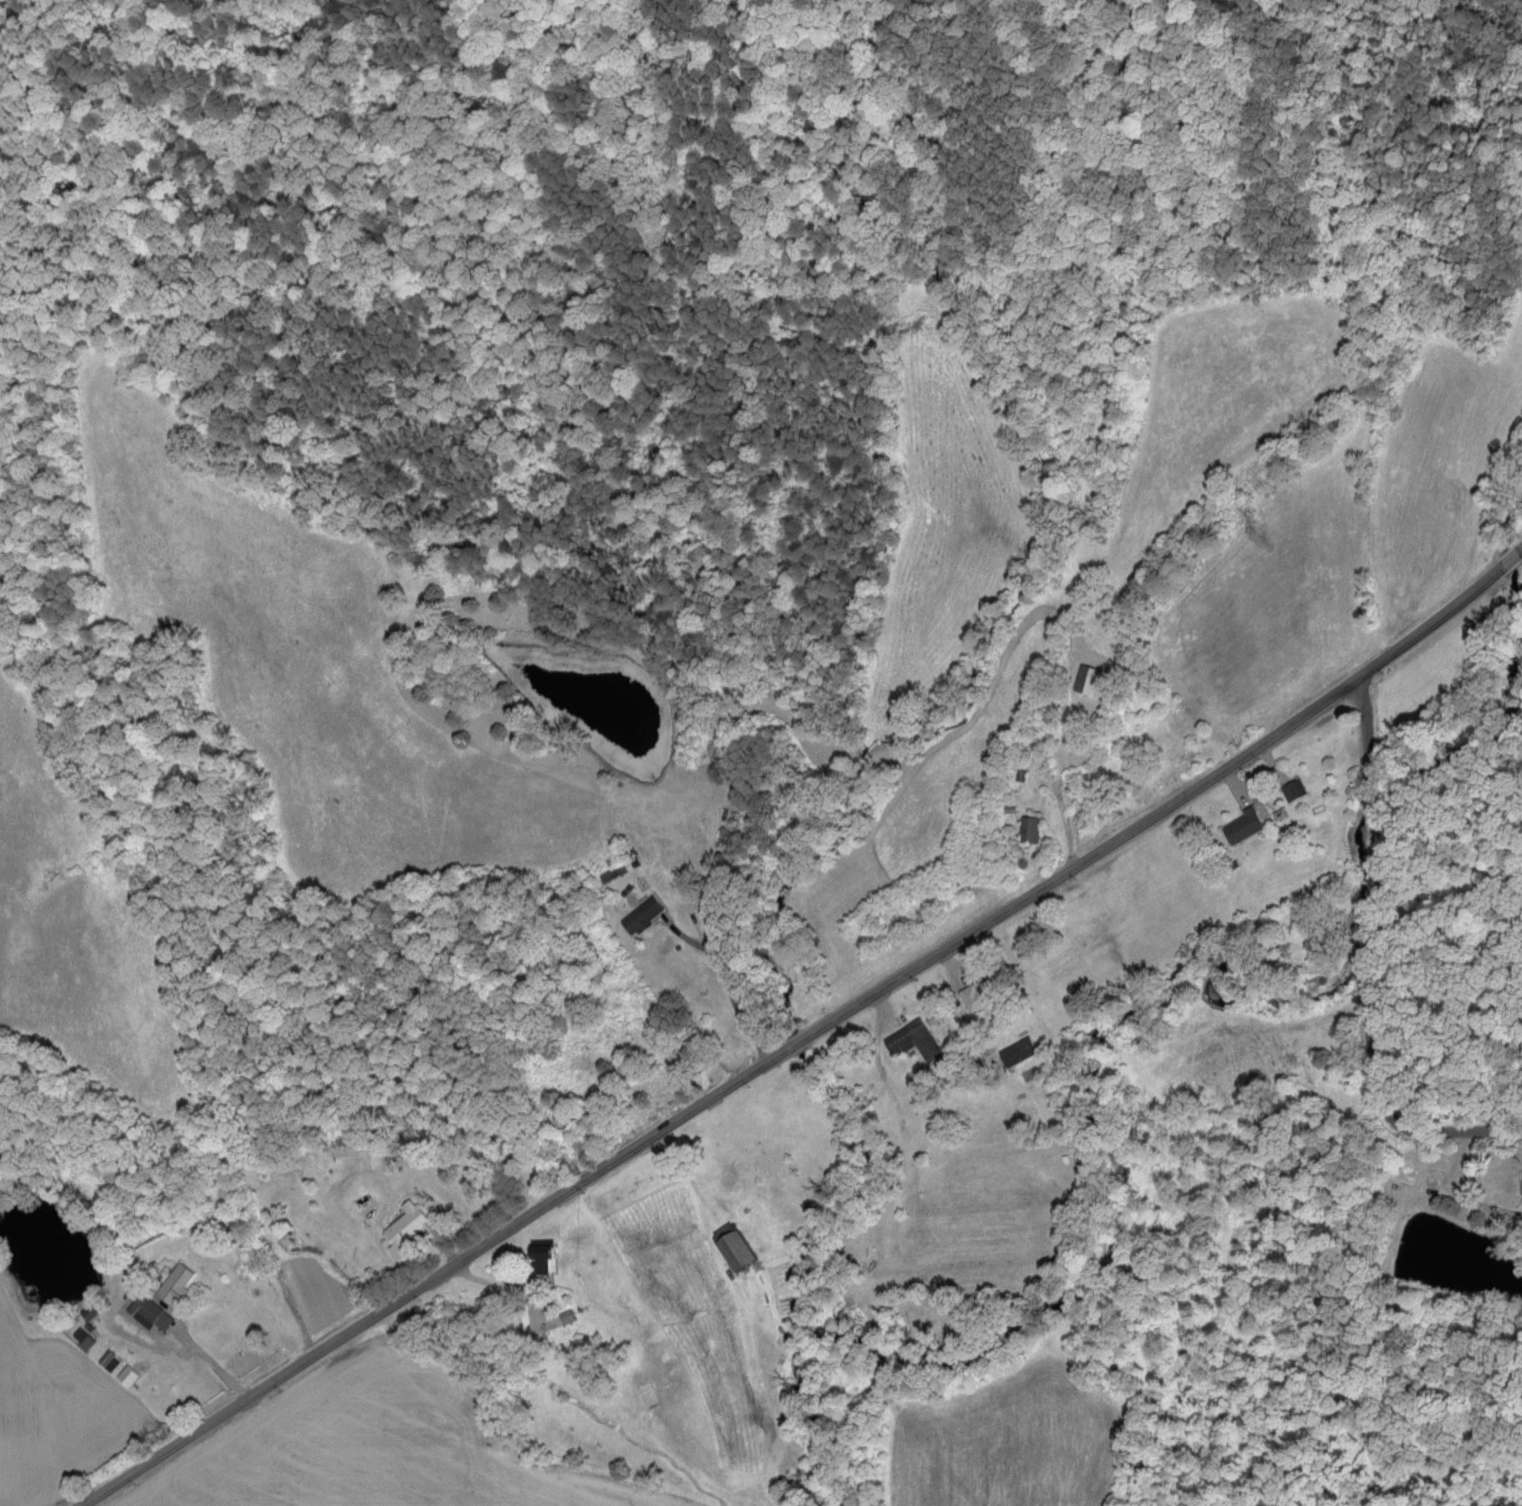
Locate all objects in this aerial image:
building: (1087, 679)
building: (1293, 789)
road: (1061, 802)
building: (1243, 825)
building: (1030, 829)
road: (1374, 896)
building: (640, 914)
building: (974, 994)
road: (800, 1030)
building: (912, 1038)
building: (1016, 1049)
road: (1463, 1128)
building: (404, 1226)
building: (732, 1244)
building: (543, 1254)
building: (175, 1281)
building: (134, 1302)
building: (152, 1313)
building: (127, 1374)

